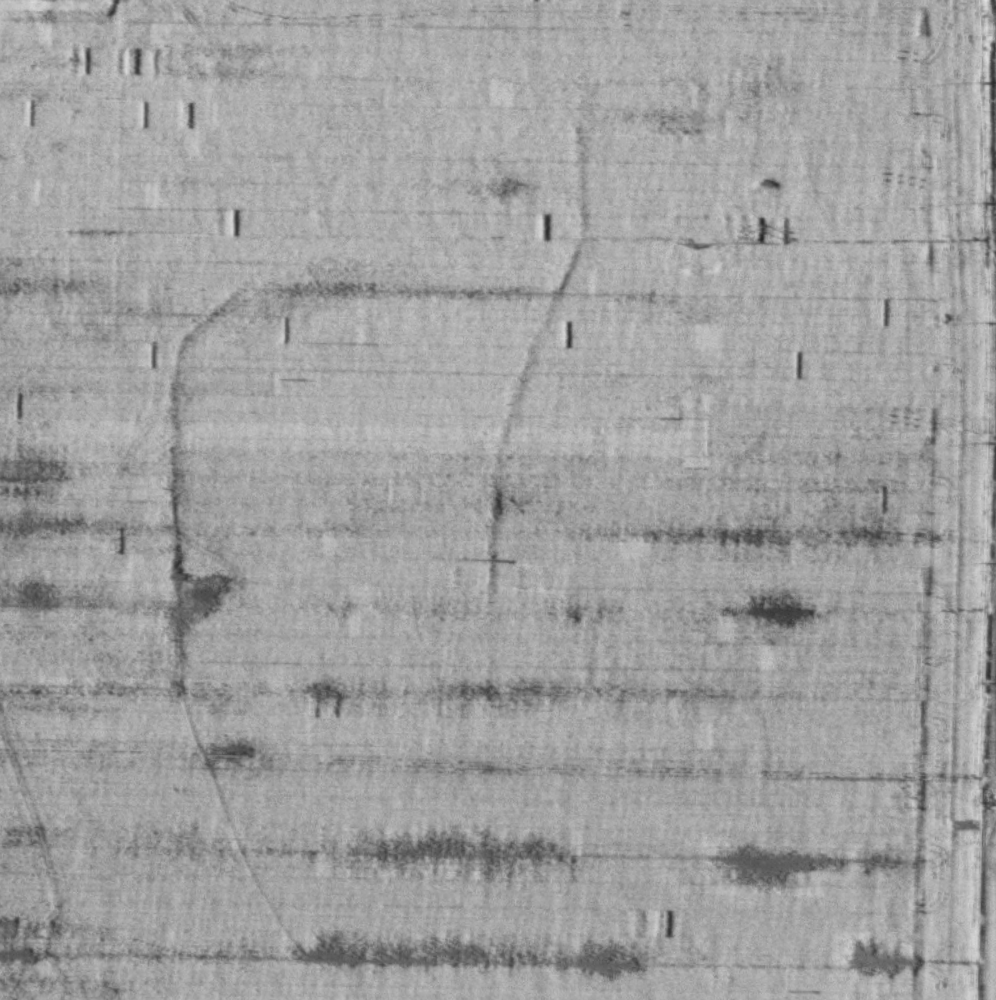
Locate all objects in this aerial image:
crop: (498, 500)

